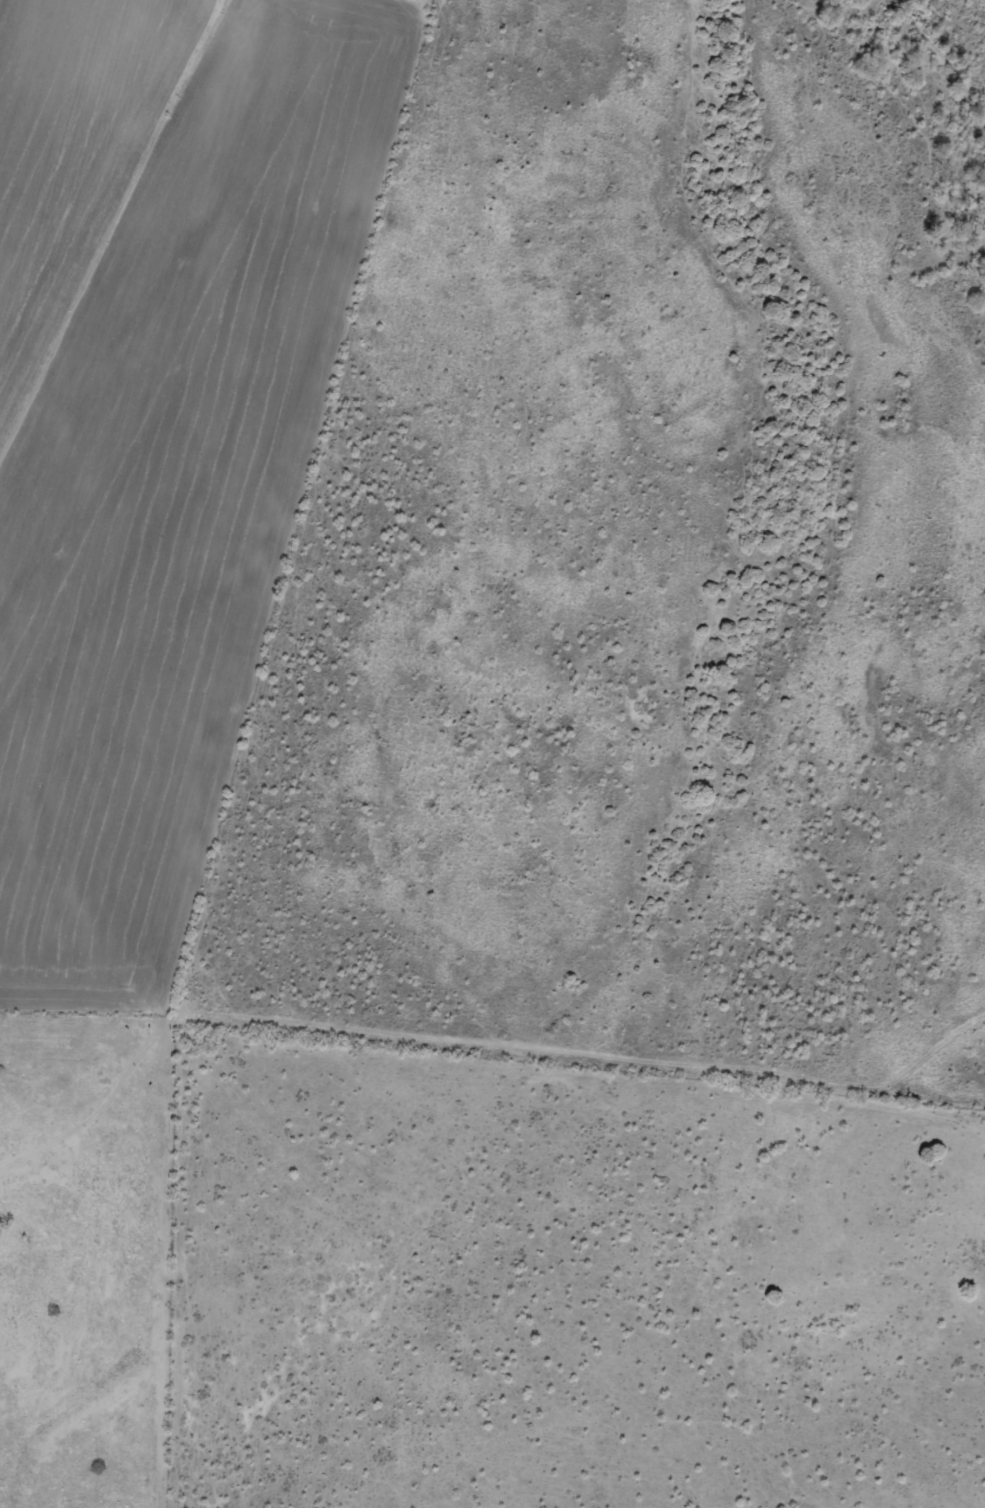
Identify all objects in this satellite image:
road: (474, 1120)

